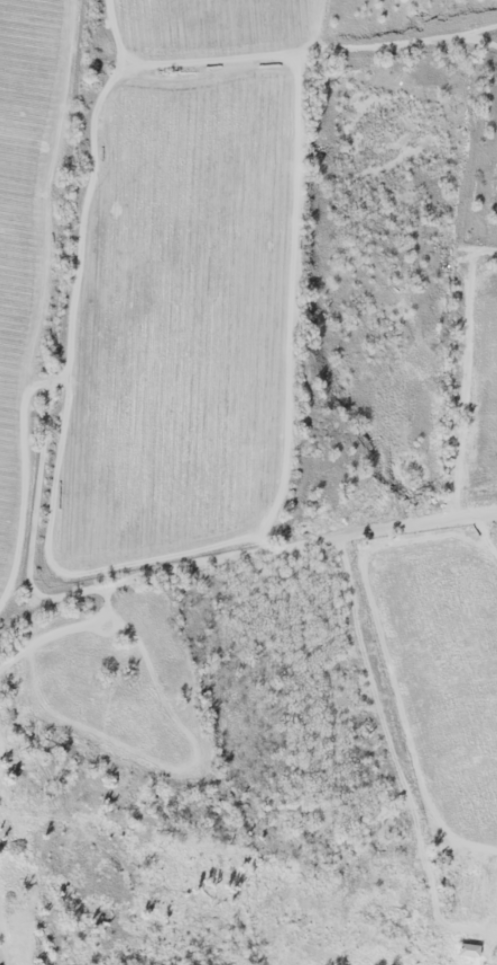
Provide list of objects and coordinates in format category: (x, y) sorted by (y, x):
road: (98, 17)
road: (263, 17)
road: (298, 34)
road: (58, 322)
road: (479, 326)
road: (264, 560)
road: (16, 622)

